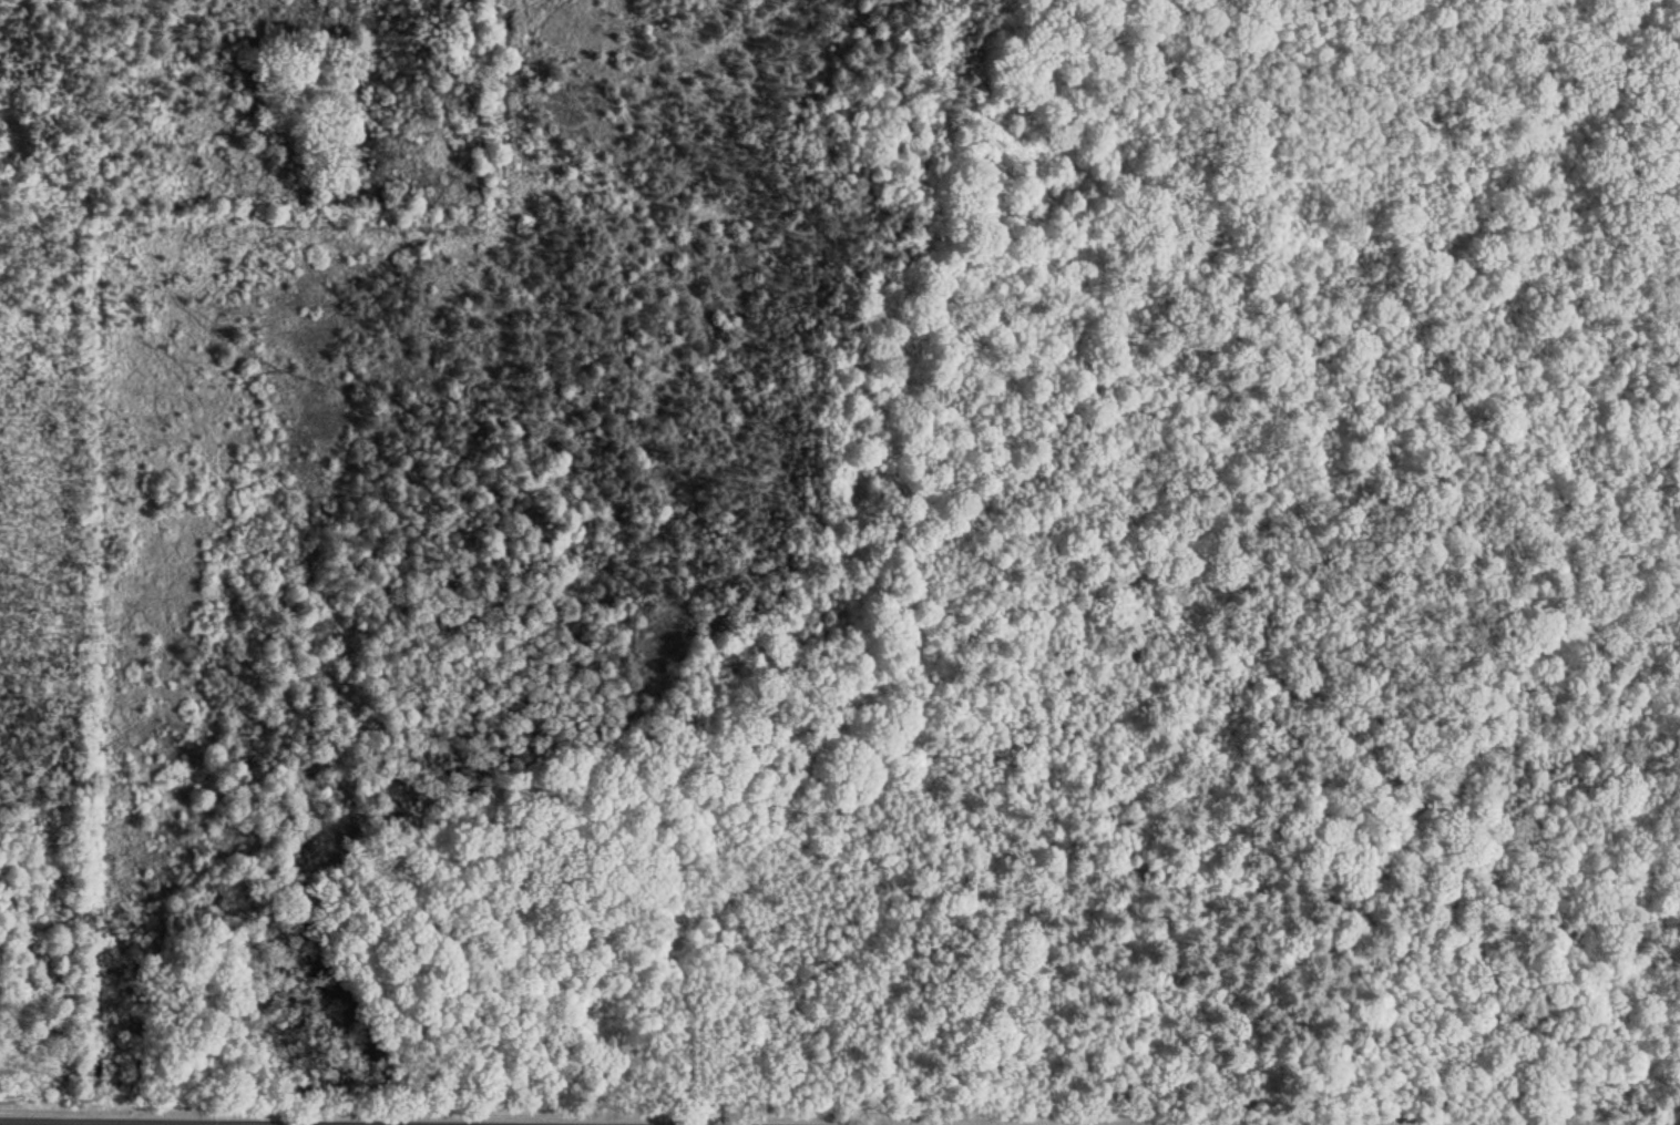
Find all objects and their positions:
road: (1, 1124)

